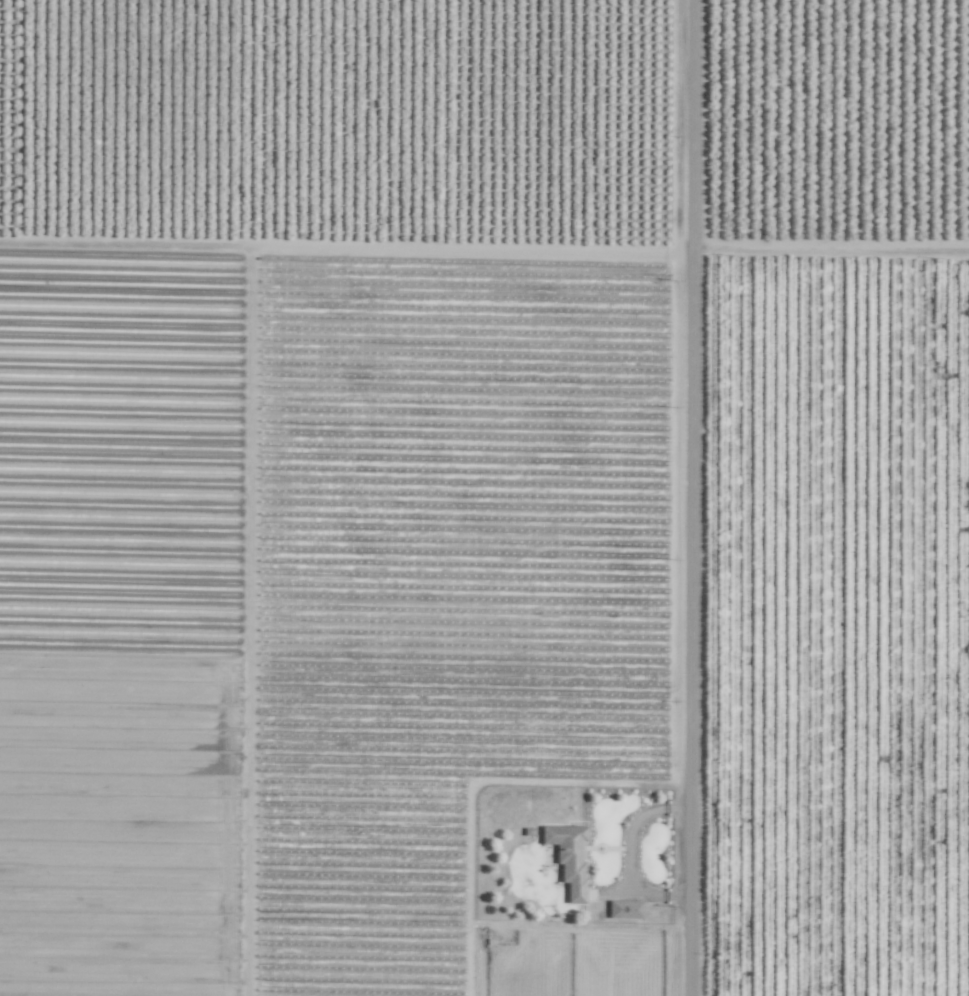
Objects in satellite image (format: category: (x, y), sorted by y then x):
road: (694, 498)
road: (628, 855)
building: (568, 858)
building: (624, 909)

